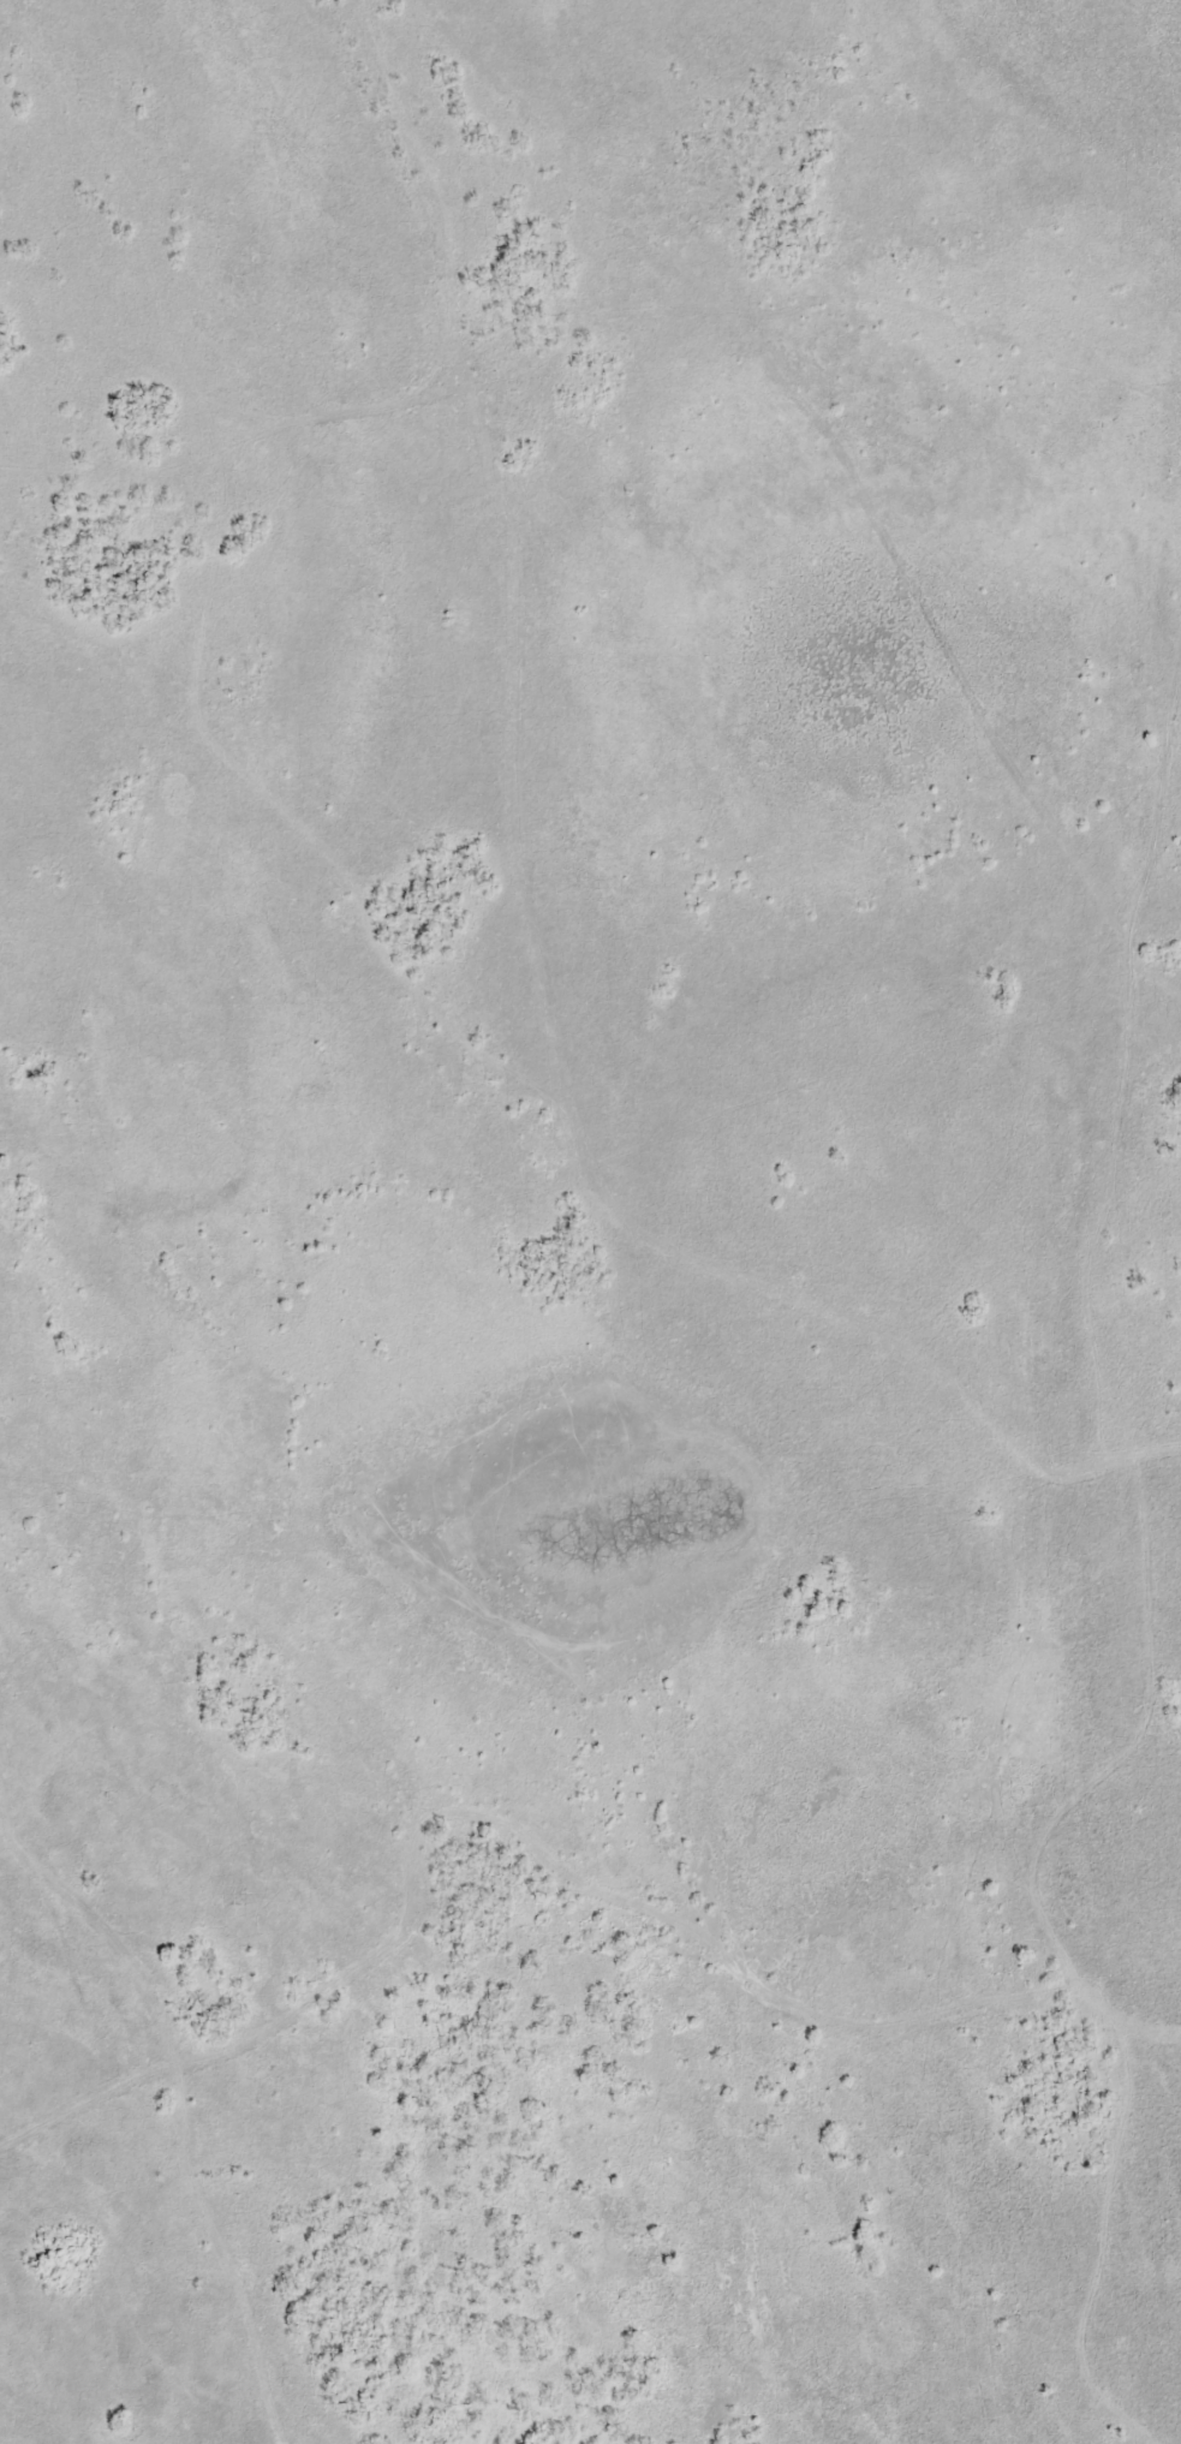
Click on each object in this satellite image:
road: (845, 77)

